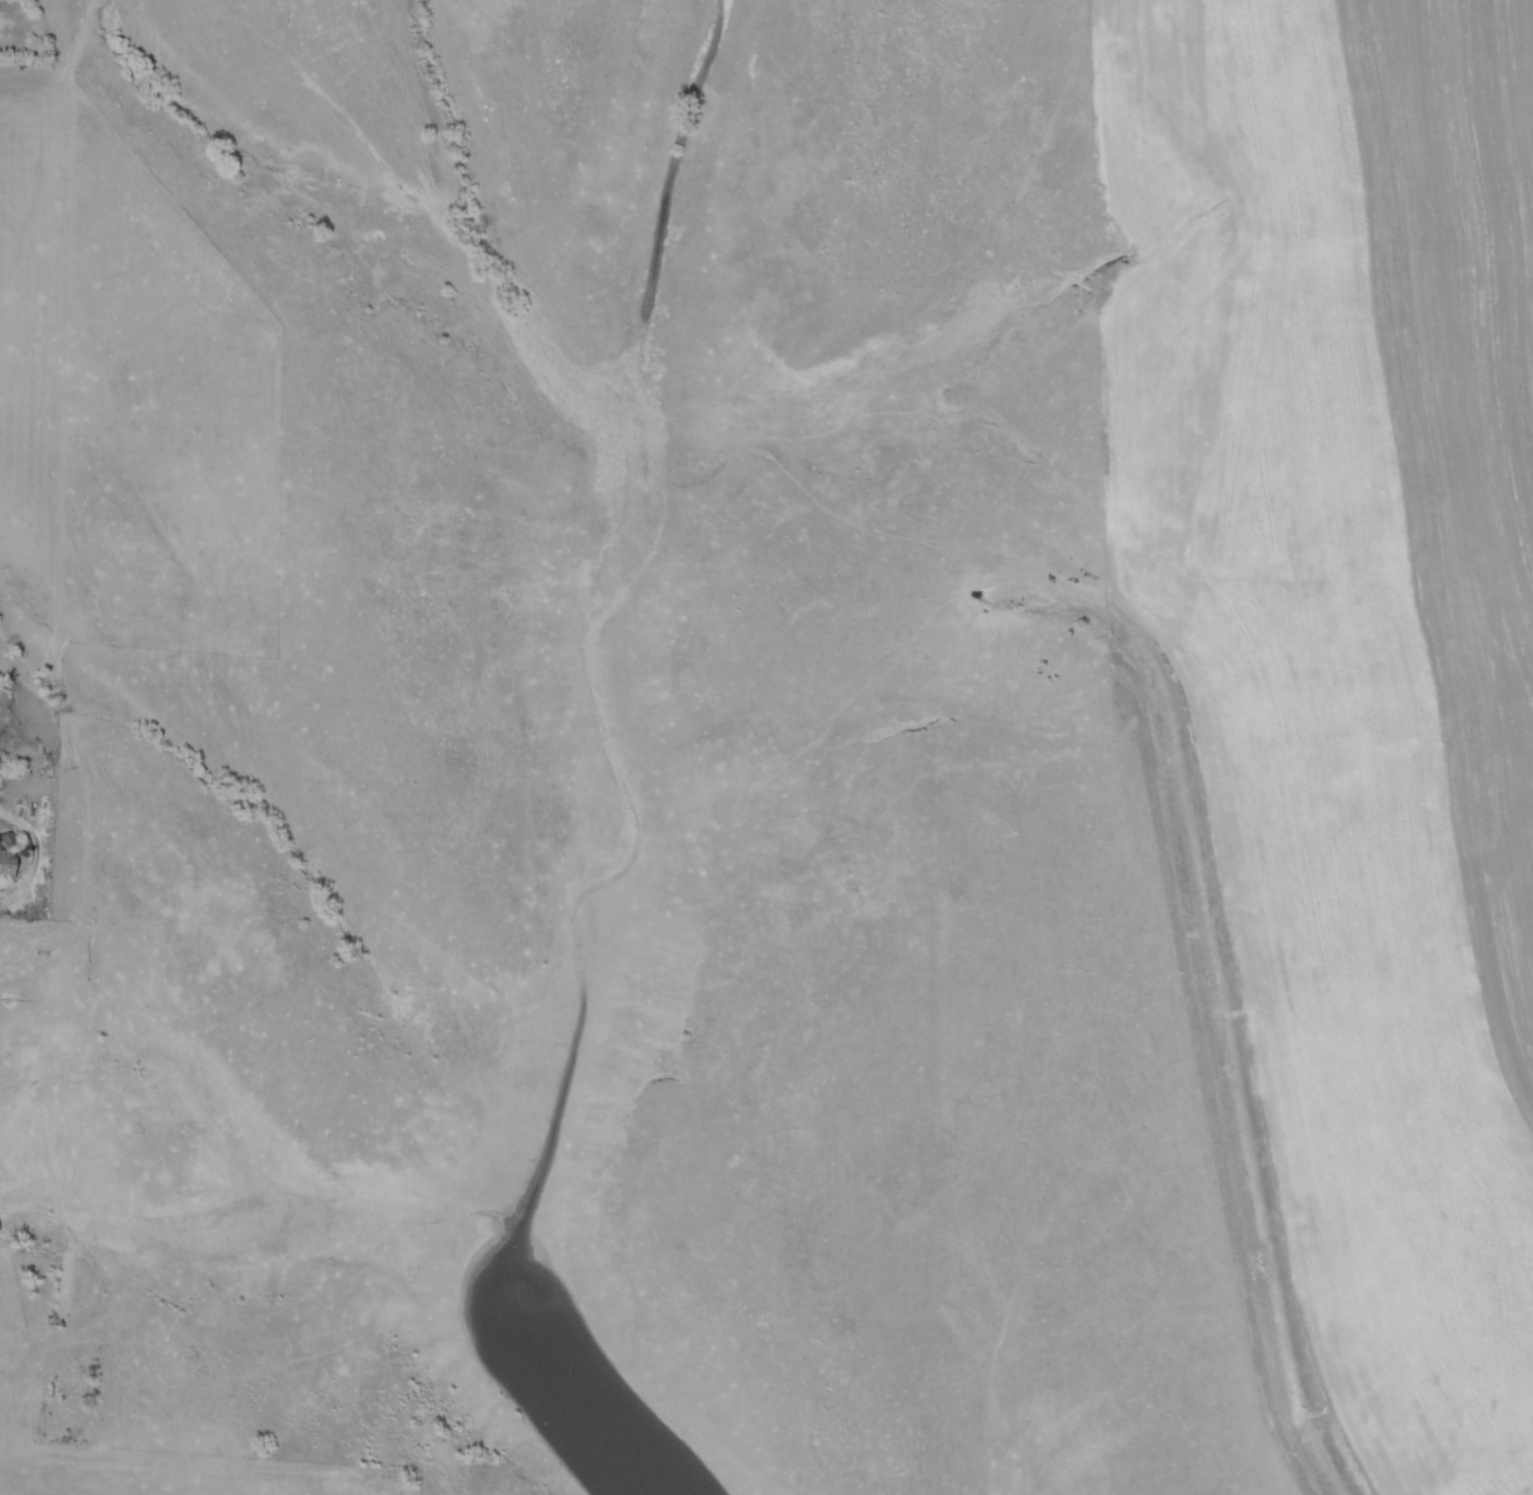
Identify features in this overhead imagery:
building: (6, 866)

